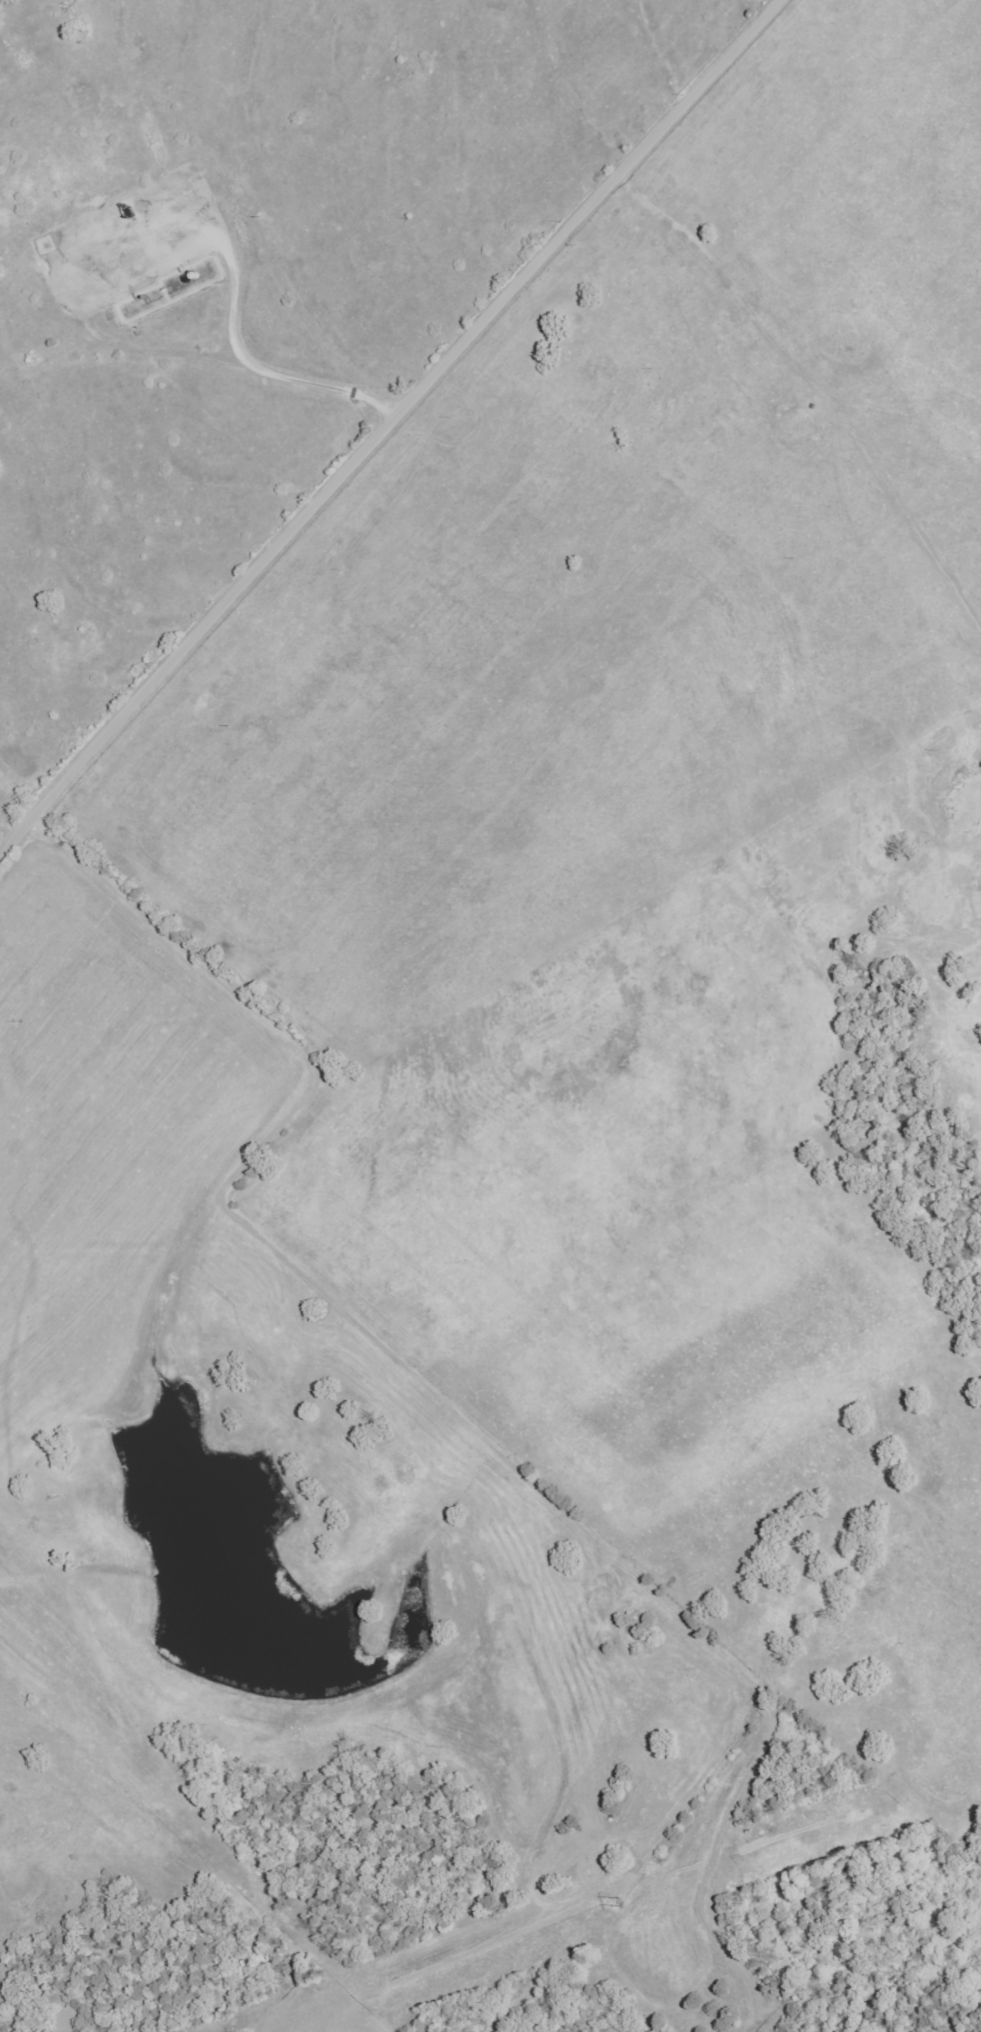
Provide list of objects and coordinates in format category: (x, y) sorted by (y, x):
road: (386, 423)
power tower: (621, 1906)

